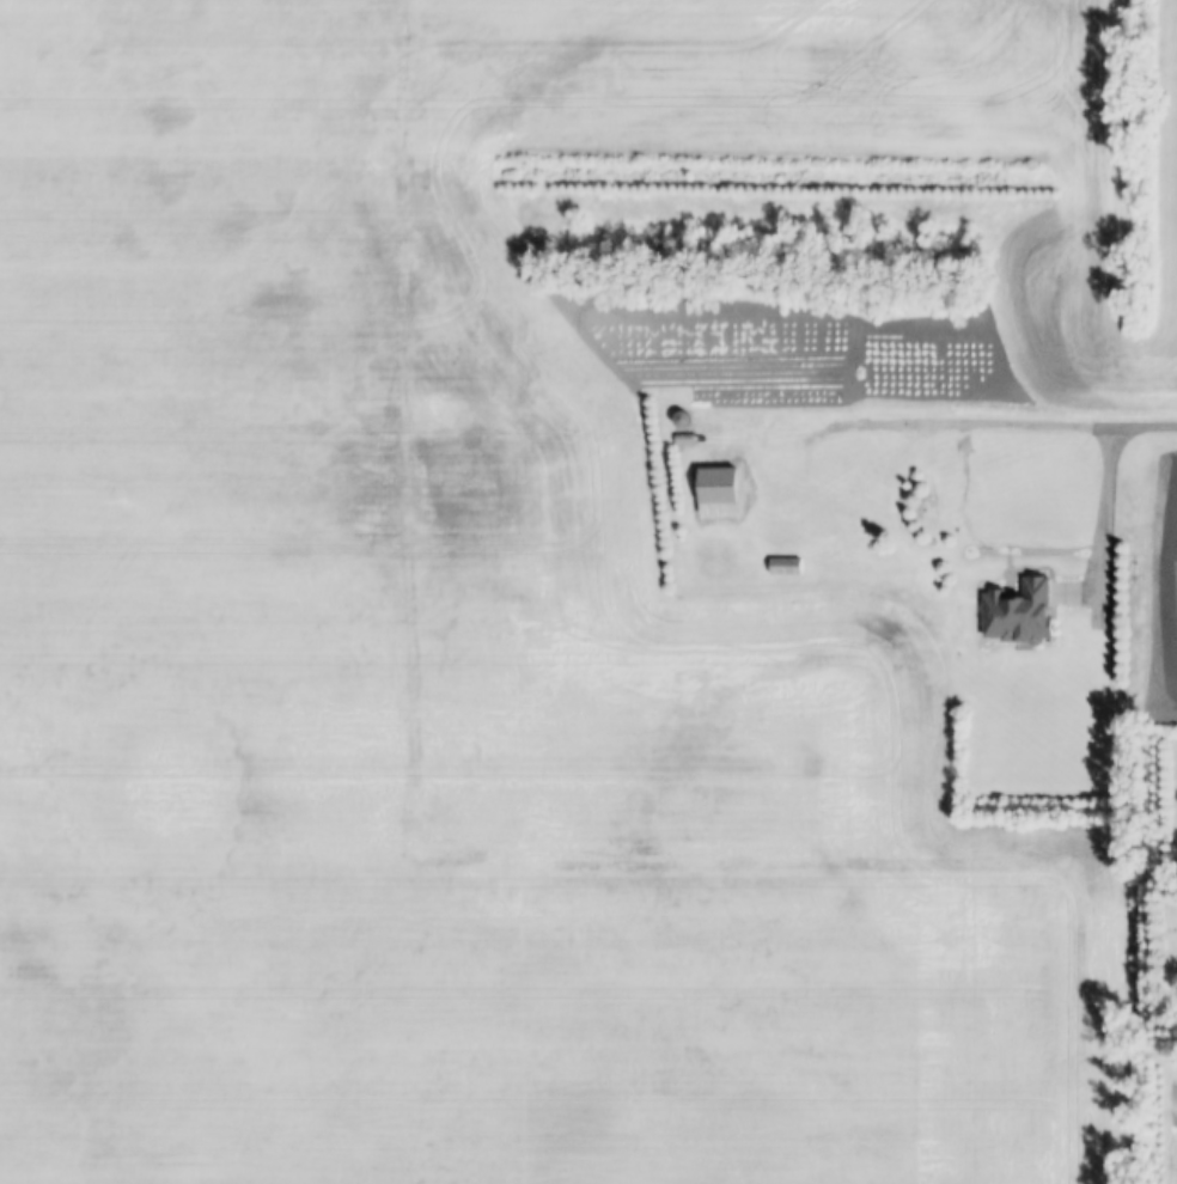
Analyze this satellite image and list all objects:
building: (682, 419)
silo: (682, 419)
road: (957, 419)
road: (1146, 421)
building: (684, 439)
road: (1096, 523)
building: (713, 561)
building: (783, 568)
building: (1020, 616)

